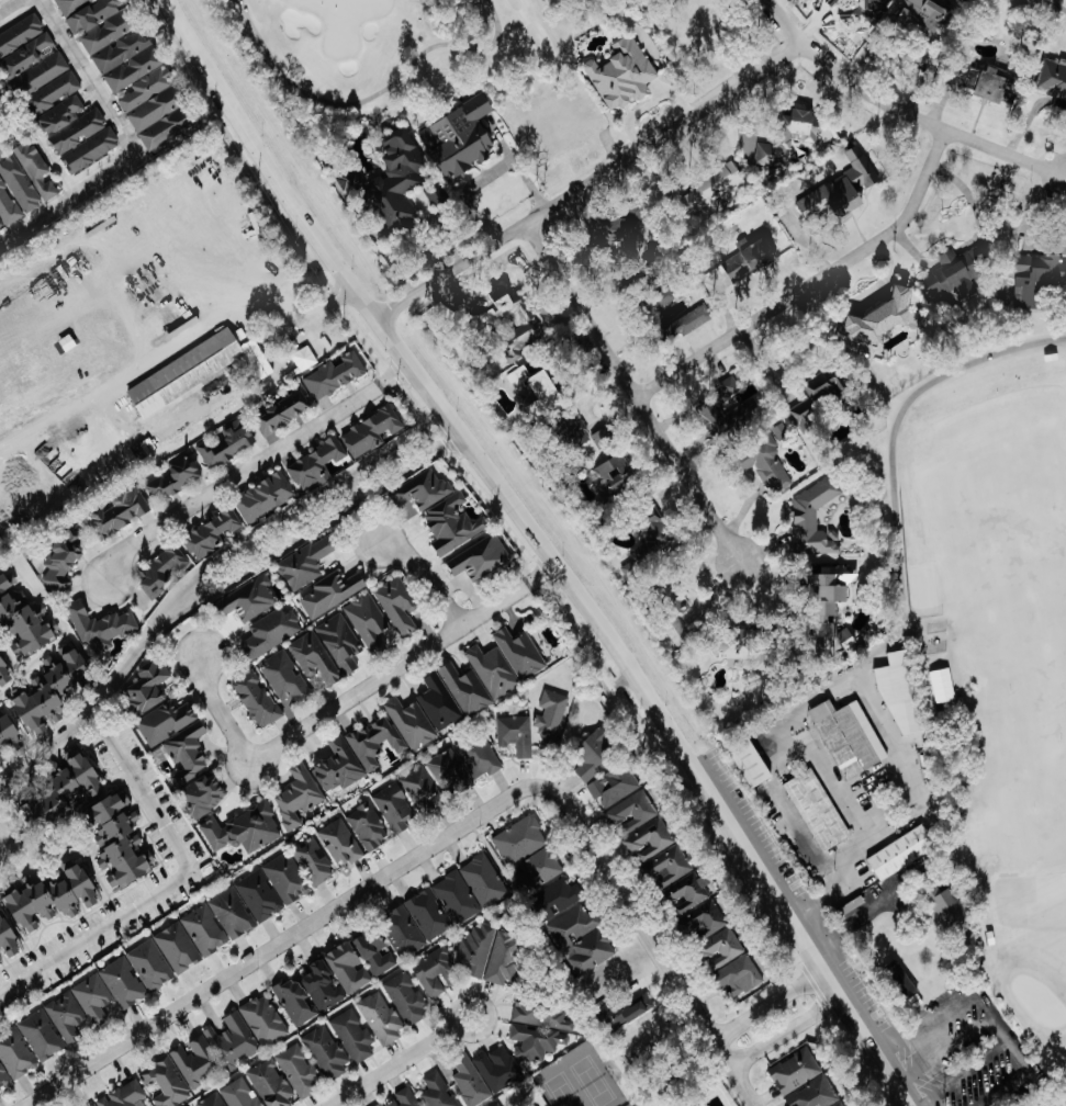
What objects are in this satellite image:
road: (7, 4)
road: (1058, 5)
building: (871, 8)
park: (1046, 13)
park: (345, 20)
building: (920, 25)
building: (21, 35)
building: (114, 38)
park: (375, 49)
building: (618, 70)
building: (41, 74)
road: (86, 77)
building: (1051, 77)
building: (987, 80)
road: (373, 94)
road: (906, 110)
building: (157, 111)
building: (557, 128)
building: (77, 133)
building: (457, 136)
building: (789, 137)
building: (26, 177)
road: (596, 182)
building: (393, 183)
building: (714, 188)
building: (843, 188)
road: (67, 196)
building: (7, 206)
building: (624, 232)
road: (973, 239)
building: (751, 260)
building: (956, 274)
building: (1040, 279)
road: (819, 282)
road: (871, 291)
road: (232, 314)
building: (695, 319)
building: (517, 321)
crop: (145, 330)
building: (184, 372)
building: (334, 375)
building: (540, 391)
building: (738, 391)
building: (820, 397)
road: (646, 402)
building: (282, 413)
building: (715, 415)
building: (370, 431)
building: (783, 432)
building: (605, 438)
building: (226, 444)
road: (891, 445)
road: (397, 458)
building: (314, 465)
building: (772, 465)
road: (251, 467)
building: (616, 474)
building: (175, 476)
building: (423, 490)
building: (119, 513)
building: (238, 515)
building: (816, 518)
building: (453, 524)
building: (652, 549)
road: (550, 550)
building: (482, 557)
building: (63, 560)
building: (306, 563)
building: (162, 571)
building: (840, 574)
road: (426, 576)
building: (330, 592)
building: (249, 599)
building: (397, 607)
building: (833, 611)
building: (677, 621)
building: (22, 623)
building: (368, 623)
building: (99, 627)
building: (272, 631)
building: (927, 632)
building: (745, 650)
building: (326, 651)
building: (519, 654)
building: (492, 672)
building: (3, 675)
building: (284, 678)
building: (148, 686)
building: (51, 687)
building: (897, 690)
road: (352, 695)
building: (451, 697)
building: (256, 700)
road: (880, 710)
building: (550, 718)
building: (165, 722)
building: (409, 724)
building: (8, 731)
building: (513, 734)
building: (848, 737)
road: (46, 741)
park: (949, 741)
road: (113, 745)
building: (187, 754)
building: (357, 754)
building: (594, 755)
building: (462, 763)
building: (752, 766)
building: (613, 786)
building: (419, 789)
building: (61, 792)
building: (203, 797)
building: (296, 798)
building: (394, 809)
building: (816, 810)
building: (630, 813)
building: (367, 827)
building: (243, 831)
building: (648, 839)
building: (117, 844)
building: (339, 844)
building: (899, 851)
building: (312, 862)
building: (535, 866)
building: (285, 879)
building: (482, 880)
building: (677, 880)
building: (52, 894)
building: (258, 895)
building: (945, 905)
building: (441, 906)
building: (229, 913)
building: (703, 919)
building: (571, 925)
building: (202, 929)
building: (401, 933)
road: (658, 938)
road: (280, 944)
building: (177, 947)
building: (474, 948)
building: (373, 951)
building: (588, 951)
building: (502, 958)
building: (730, 962)
building: (149, 966)
building: (347, 968)
road: (829, 972)
building: (435, 973)
building: (122, 983)
building: (307, 993)
building: (92, 998)
building: (405, 998)
road: (765, 1003)
building: (625, 1012)
building: (65, 1016)
building: (379, 1018)
building: (262, 1020)
road: (930, 1024)
building: (537, 1029)
road: (785, 1029)
building: (40, 1036)
building: (228, 1042)
road: (945, 1048)
road: (1014, 1048)
building: (324, 1052)
building: (15, 1054)
road: (403, 1062)
building: (192, 1063)
building: (496, 1069)
road: (683, 1070)
building: (296, 1072)
road: (964, 1073)
building: (3, 1077)
building: (803, 1080)
building: (468, 1081)
building: (164, 1082)
building: (269, 1084)
road: (1003, 1088)
building: (237, 1094)
building: (123, 1095)
building: (210, 1101)
building: (839, 1104)
building: (91, 1105)
building: (496, 1105)

